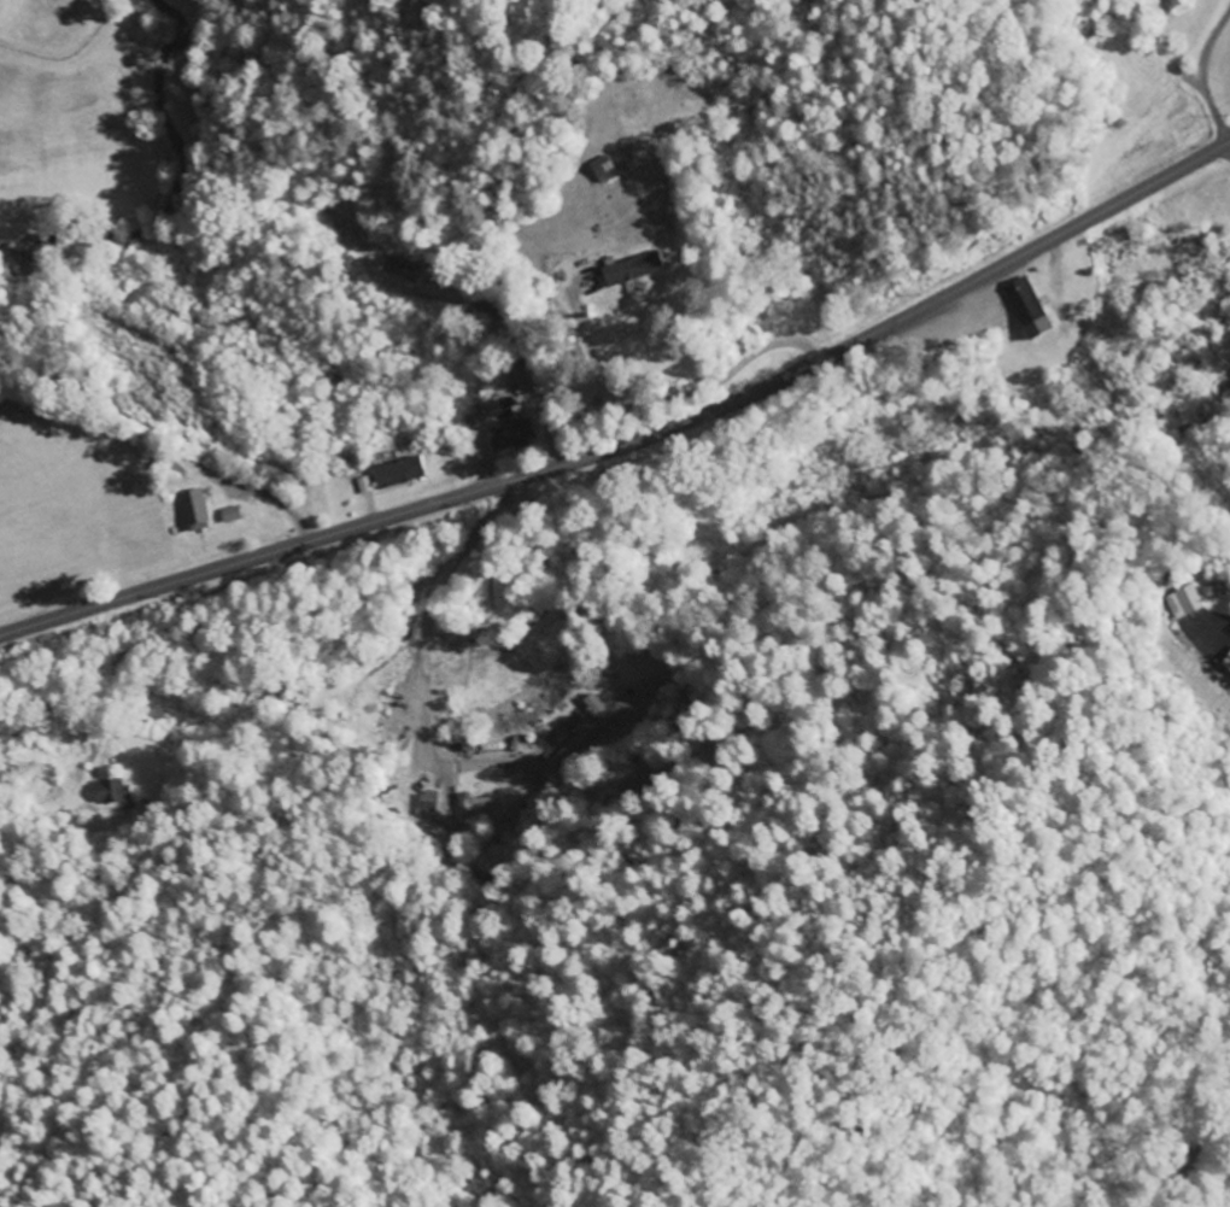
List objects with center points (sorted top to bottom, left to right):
road: (1156, 43)
road: (1200, 75)
building: (603, 169)
road: (902, 215)
road: (820, 225)
building: (632, 268)
building: (1026, 307)
building: (511, 434)
road: (635, 443)
building: (398, 471)
building: (195, 509)
building: (1183, 602)
building: (1225, 663)
building: (110, 792)
road: (2, 797)
building: (475, 802)
building: (424, 803)

